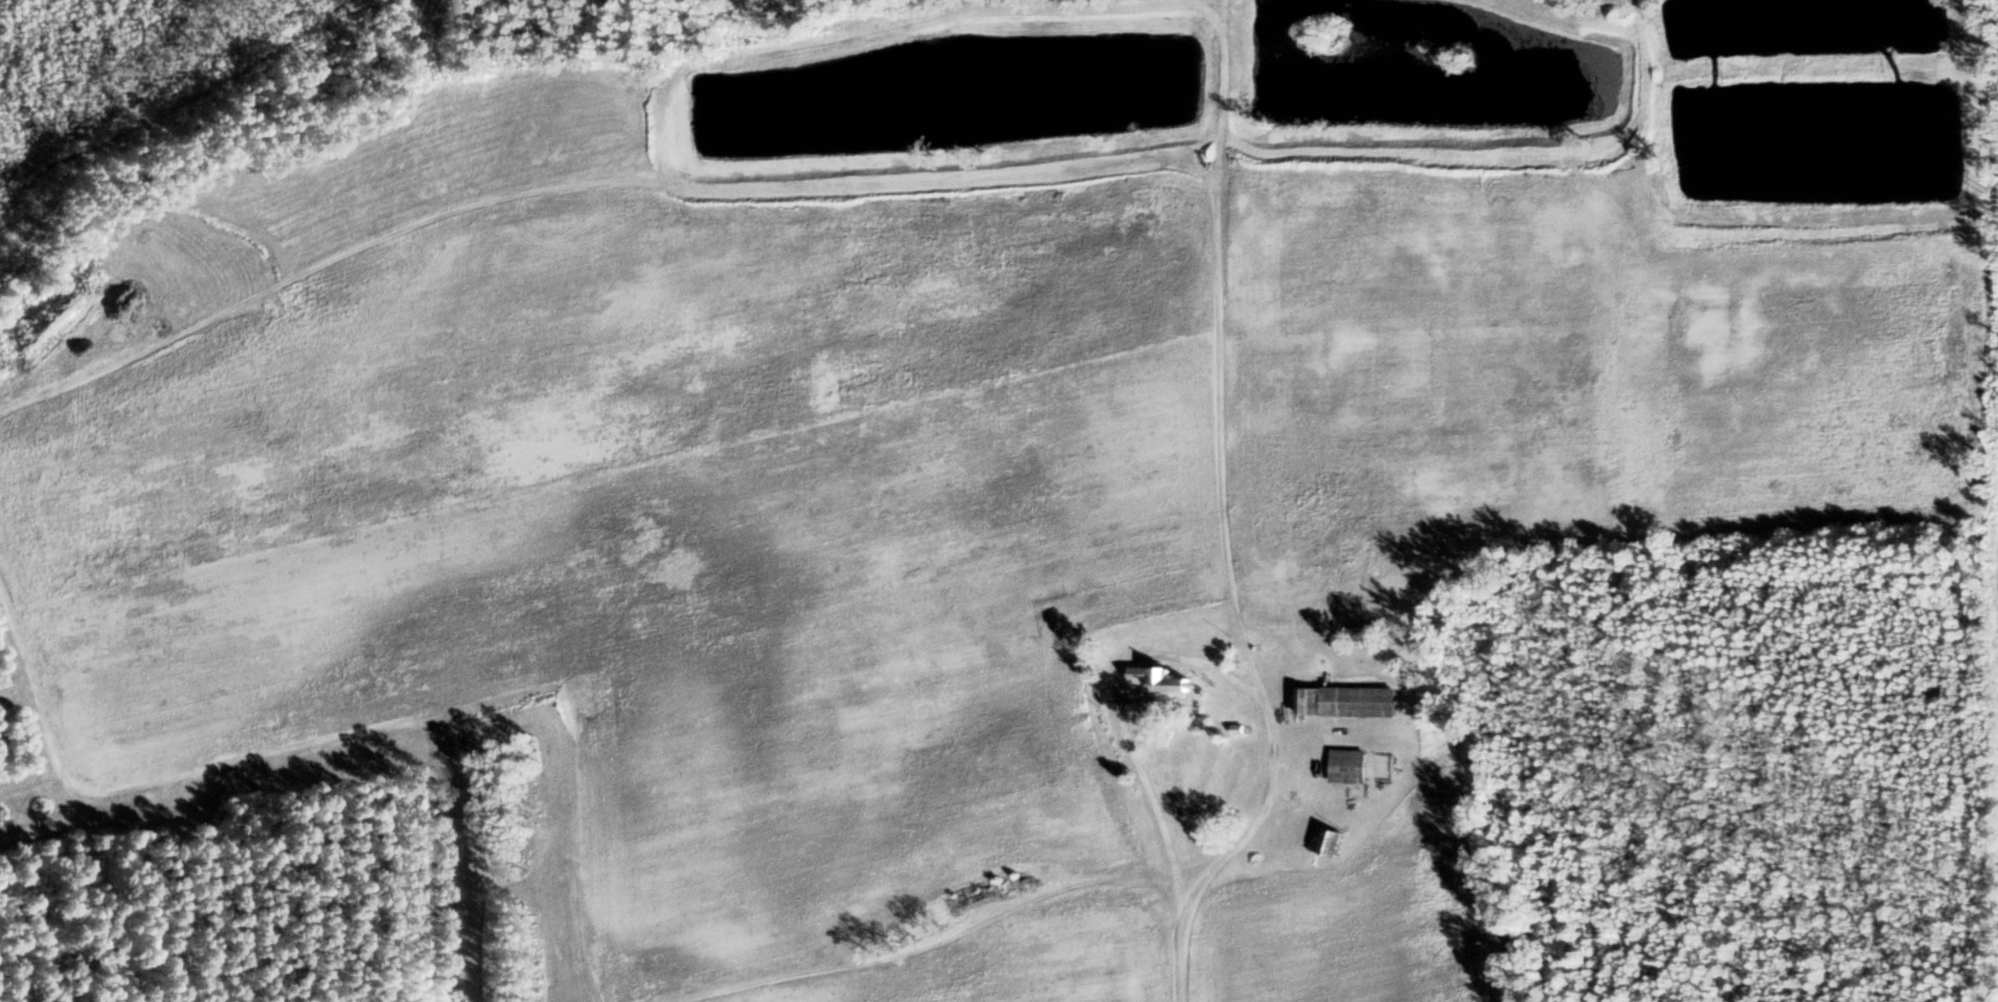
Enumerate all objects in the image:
road: (1585, 24)
road: (1648, 63)
road: (1226, 518)
building: (1158, 680)
building: (1345, 702)
road: (219, 764)
building: (1346, 767)
building: (1324, 842)
building: (980, 895)

